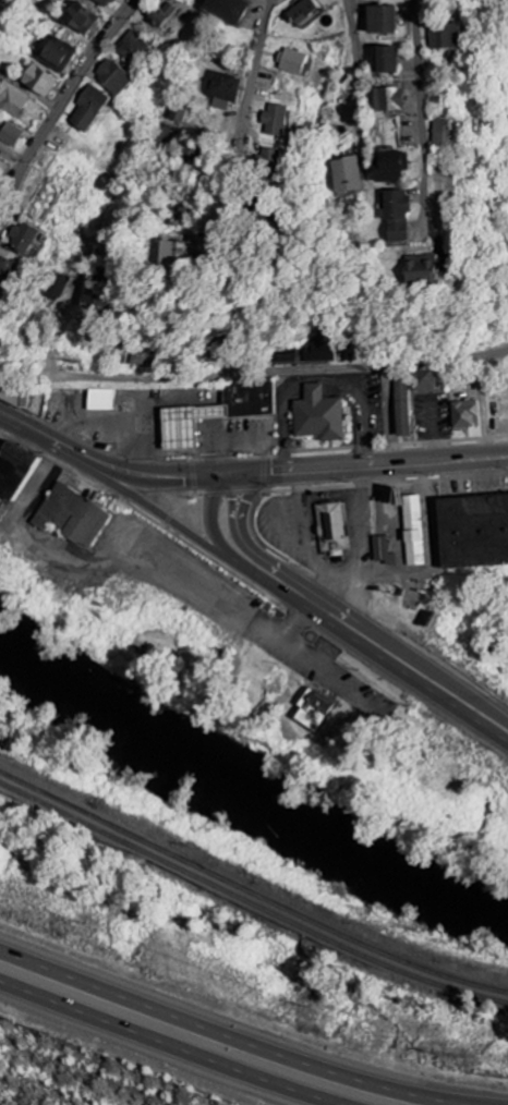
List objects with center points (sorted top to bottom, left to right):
building: (363, 0)
building: (107, 2)
road: (280, 7)
building: (228, 10)
building: (304, 12)
building: (162, 16)
building: (81, 19)
building: (380, 20)
building: (452, 36)
building: (133, 47)
building: (58, 54)
road: (359, 60)
building: (384, 60)
building: (295, 62)
building: (114, 77)
building: (40, 81)
building: (225, 89)
road: (409, 96)
building: (12, 98)
building: (386, 100)
road: (247, 108)
road: (61, 109)
building: (89, 109)
building: (180, 111)
building: (0, 119)
building: (276, 121)
building: (442, 133)
building: (11, 135)
road: (12, 153)
building: (271, 159)
building: (389, 167)
building: (350, 175)
building: (396, 217)
building: (25, 236)
building: (169, 255)
building: (421, 269)
building: (5, 275)
building: (58, 287)
road: (61, 325)
building: (312, 351)
building: (145, 356)
road: (254, 371)
building: (427, 379)
building: (403, 408)
road: (392, 413)
building: (464, 415)
building: (318, 416)
building: (193, 423)
gas station: (193, 423)
road: (45, 437)
road: (362, 463)
building: (13, 470)
road: (152, 473)
road: (162, 515)
building: (71, 518)
road: (218, 522)
building: (335, 525)
building: (413, 532)
building: (473, 532)
building: (384, 551)
road: (130, 561)
road: (375, 645)
building: (319, 707)
river: (243, 794)
railway: (244, 888)
road: (240, 1036)
road: (165, 1046)

